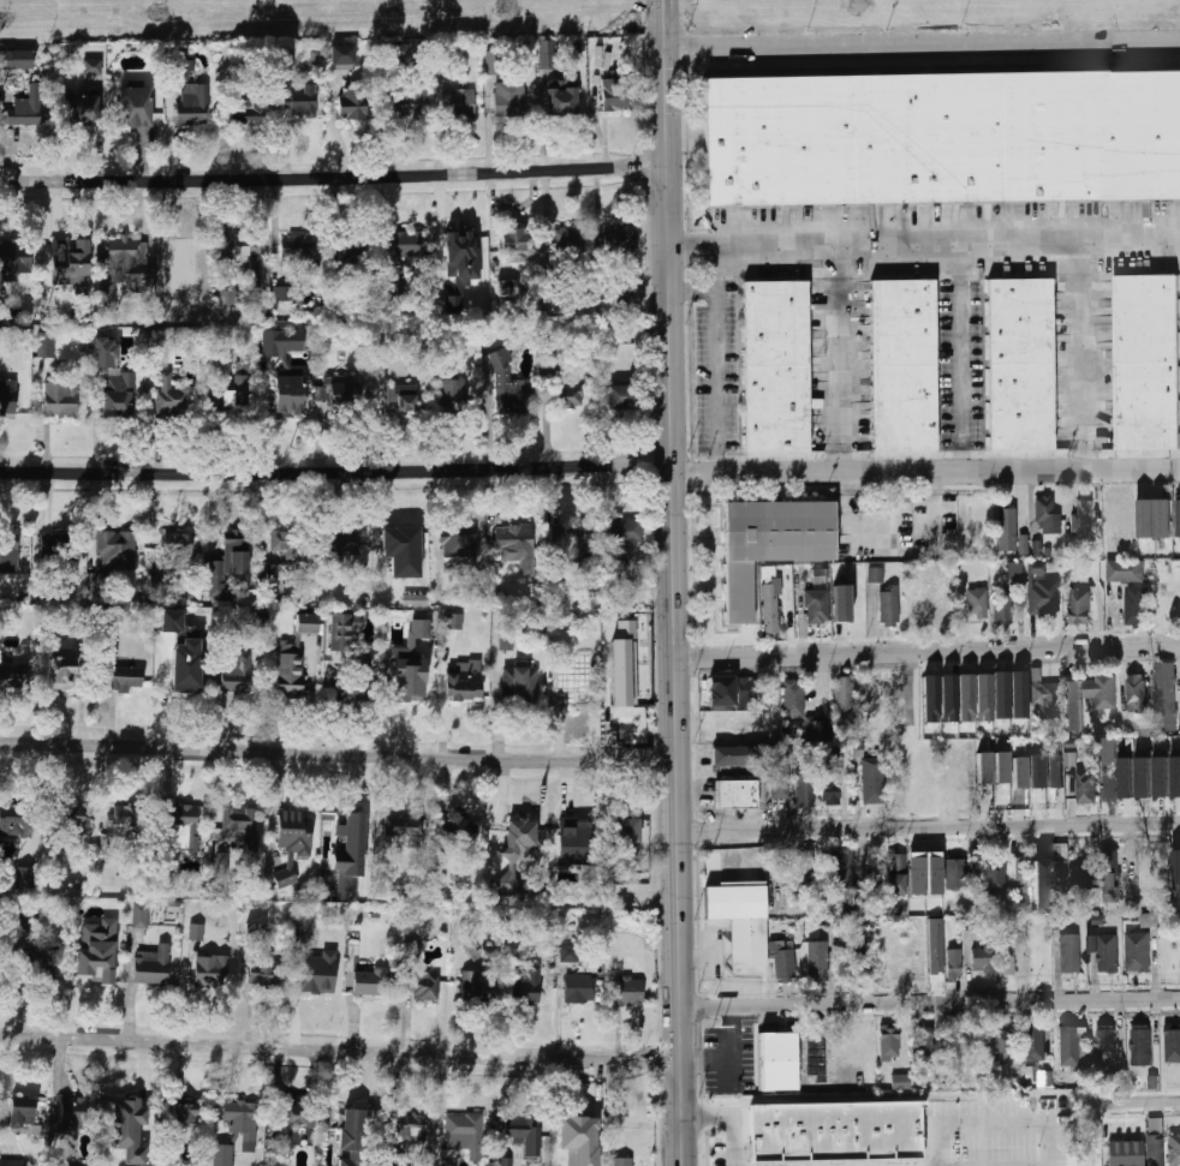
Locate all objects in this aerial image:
power tower: (859, 7)
power tower: (505, 8)
power tower: (156, 16)
road: (922, 43)
building: (546, 53)
building: (342, 54)
building: (17, 59)
building: (285, 59)
building: (495, 61)
building: (91, 67)
building: (184, 70)
building: (561, 95)
building: (615, 95)
building: (509, 100)
building: (299, 101)
building: (354, 101)
building: (457, 103)
building: (192, 104)
building: (406, 104)
building: (135, 107)
building: (24, 108)
building: (84, 108)
building: (251, 109)
building: (943, 138)
road: (333, 179)
building: (566, 239)
building: (620, 240)
building: (514, 243)
building: (407, 244)
building: (352, 245)
road: (924, 246)
building: (179, 251)
building: (299, 251)
building: (244, 255)
building: (14, 259)
building: (125, 259)
building: (70, 263)
building: (460, 265)
building: (398, 286)
building: (506, 287)
road: (693, 289)
building: (282, 293)
building: (281, 343)
building: (46, 345)
road: (842, 348)
road: (963, 348)
road: (1084, 348)
building: (105, 352)
road: (717, 360)
building: (1148, 360)
building: (550, 363)
building: (905, 365)
building: (1021, 365)
building: (776, 366)
building: (508, 385)
building: (238, 387)
building: (341, 390)
building: (118, 393)
building: (322, 393)
building: (449, 393)
building: (168, 395)
building: (288, 395)
building: (7, 396)
building: (570, 396)
building: (621, 396)
building: (59, 399)
building: (399, 400)
road: (928, 472)
road: (336, 474)
building: (1045, 514)
building: (1083, 515)
building: (1178, 516)
building: (1154, 518)
building: (1006, 528)
building: (621, 539)
building: (49, 542)
building: (572, 542)
building: (177, 544)
building: (340, 544)
building: (771, 544)
building: (1023, 544)
building: (458, 545)
building: (517, 546)
building: (1036, 548)
building: (117, 549)
building: (291, 549)
building: (403, 550)
building: (8, 551)
building: (227, 563)
building: (1125, 569)
building: (1015, 573)
building: (818, 575)
building: (272, 579)
building: (874, 579)
road: (677, 582)
building: (96, 584)
building: (1043, 596)
building: (415, 600)
building: (840, 603)
building: (977, 603)
building: (770, 604)
building: (1078, 605)
building: (1136, 605)
building: (817, 606)
building: (889, 608)
building: (943, 608)
building: (1003, 608)
building: (1173, 608)
building: (913, 610)
building: (83, 620)
building: (172, 621)
building: (453, 621)
building: (308, 623)
building: (344, 629)
building: (190, 630)
building: (506, 640)
building: (364, 653)
road: (928, 653)
building: (410, 664)
building: (624, 664)
building: (290, 668)
building: (181, 669)
building: (64, 672)
building: (236, 672)
building: (13, 674)
building: (126, 680)
building: (464, 681)
building: (519, 682)
building: (720, 689)
building: (1099, 689)
building: (356, 690)
building: (573, 690)
building: (1043, 692)
building: (1164, 692)
building: (746, 693)
building: (1136, 693)
building: (1001, 694)
building: (1019, 694)
road: (441, 695)
building: (983, 696)
building: (844, 698)
building: (966, 698)
building: (793, 699)
building: (930, 699)
building: (948, 699)
road: (428, 700)
building: (1073, 705)
building: (818, 730)
building: (1108, 751)
road: (339, 757)
building: (757, 763)
building: (984, 767)
building: (1002, 767)
building: (1037, 771)
building: (1055, 771)
building: (1019, 772)
building: (1175, 775)
building: (1144, 776)
building: (1162, 776)
building: (1127, 777)
building: (872, 781)
building: (1107, 785)
building: (1084, 787)
building: (829, 788)
building: (805, 789)
building: (984, 794)
building: (737, 795)
building: (73, 824)
building: (124, 824)
building: (16, 825)
building: (242, 825)
building: (409, 827)
road: (929, 827)
building: (183, 831)
building: (626, 831)
building: (460, 836)
building: (567, 837)
building: (292, 842)
building: (344, 848)
building: (517, 851)
building: (222, 867)
building: (803, 867)
building: (840, 867)
building: (1176, 871)
building: (970, 872)
building: (954, 873)
building: (1020, 873)
building: (895, 874)
building: (928, 874)
building: (165, 875)
building: (1044, 875)
building: (1110, 875)
building: (24, 878)
building: (994, 878)
building: (1080, 880)
building: (173, 905)
building: (141, 915)
building: (1146, 919)
building: (739, 922)
building: (196, 931)
building: (303, 931)
building: (258, 933)
building: (570, 949)
building: (1103, 950)
building: (1137, 950)
building: (1069, 952)
building: (91, 953)
building: (412, 953)
building: (856, 955)
building: (816, 959)
building: (982, 959)
building: (40, 961)
building: (953, 961)
building: (783, 963)
building: (151, 965)
building: (1006, 965)
building: (0, 968)
building: (210, 970)
building: (263, 974)
building: (315, 977)
building: (368, 982)
building: (526, 985)
building: (422, 986)
building: (473, 987)
building: (579, 988)
building: (627, 989)
road: (930, 1001)
building: (1105, 1041)
building: (888, 1042)
building: (922, 1042)
building: (1139, 1042)
building: (1173, 1042)
building: (1032, 1044)
building: (1002, 1045)
building: (1073, 1045)
road: (340, 1051)
road: (734, 1058)
building: (773, 1063)
building: (1037, 1074)
building: (1116, 1081)
building: (1151, 1081)
building: (901, 1082)
road: (1140, 1099)
building: (22, 1112)
building: (77, 1113)
building: (185, 1113)
building: (237, 1124)
building: (836, 1124)
building: (290, 1126)
building: (129, 1128)
building: (411, 1129)
road: (728, 1129)
building: (633, 1130)
building: (524, 1134)
building: (463, 1136)
building: (351, 1137)
building: (574, 1138)
building: (1138, 1148)
building: (1174, 1148)
building: (222, 1155)
parking lot: (902, 1156)
building: (391, 1158)
building: (505, 1161)
building: (622, 1161)
building: (11, 1162)

